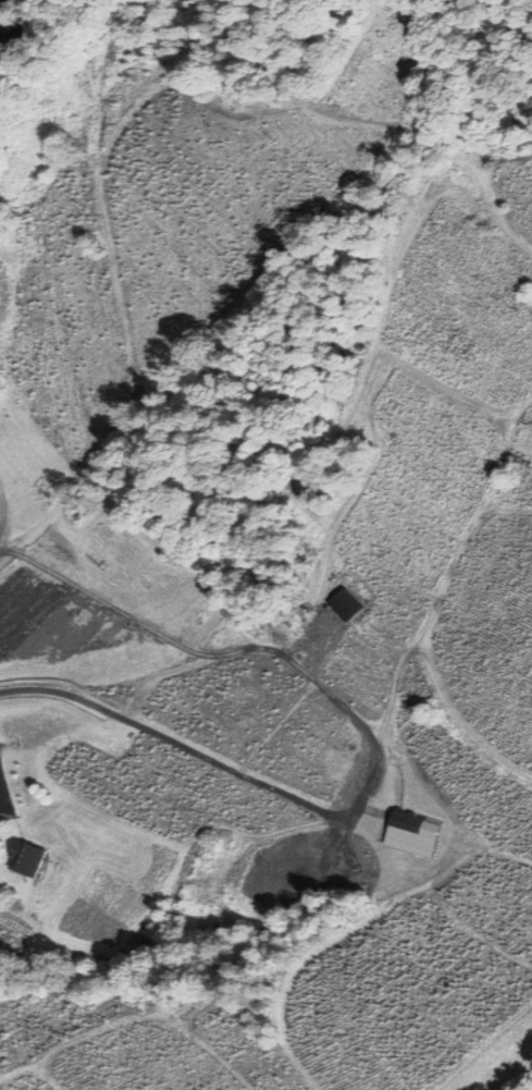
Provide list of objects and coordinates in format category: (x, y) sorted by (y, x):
road: (3, 0)
building: (14, 30)
road: (2, 507)
road: (166, 739)
building: (407, 825)

